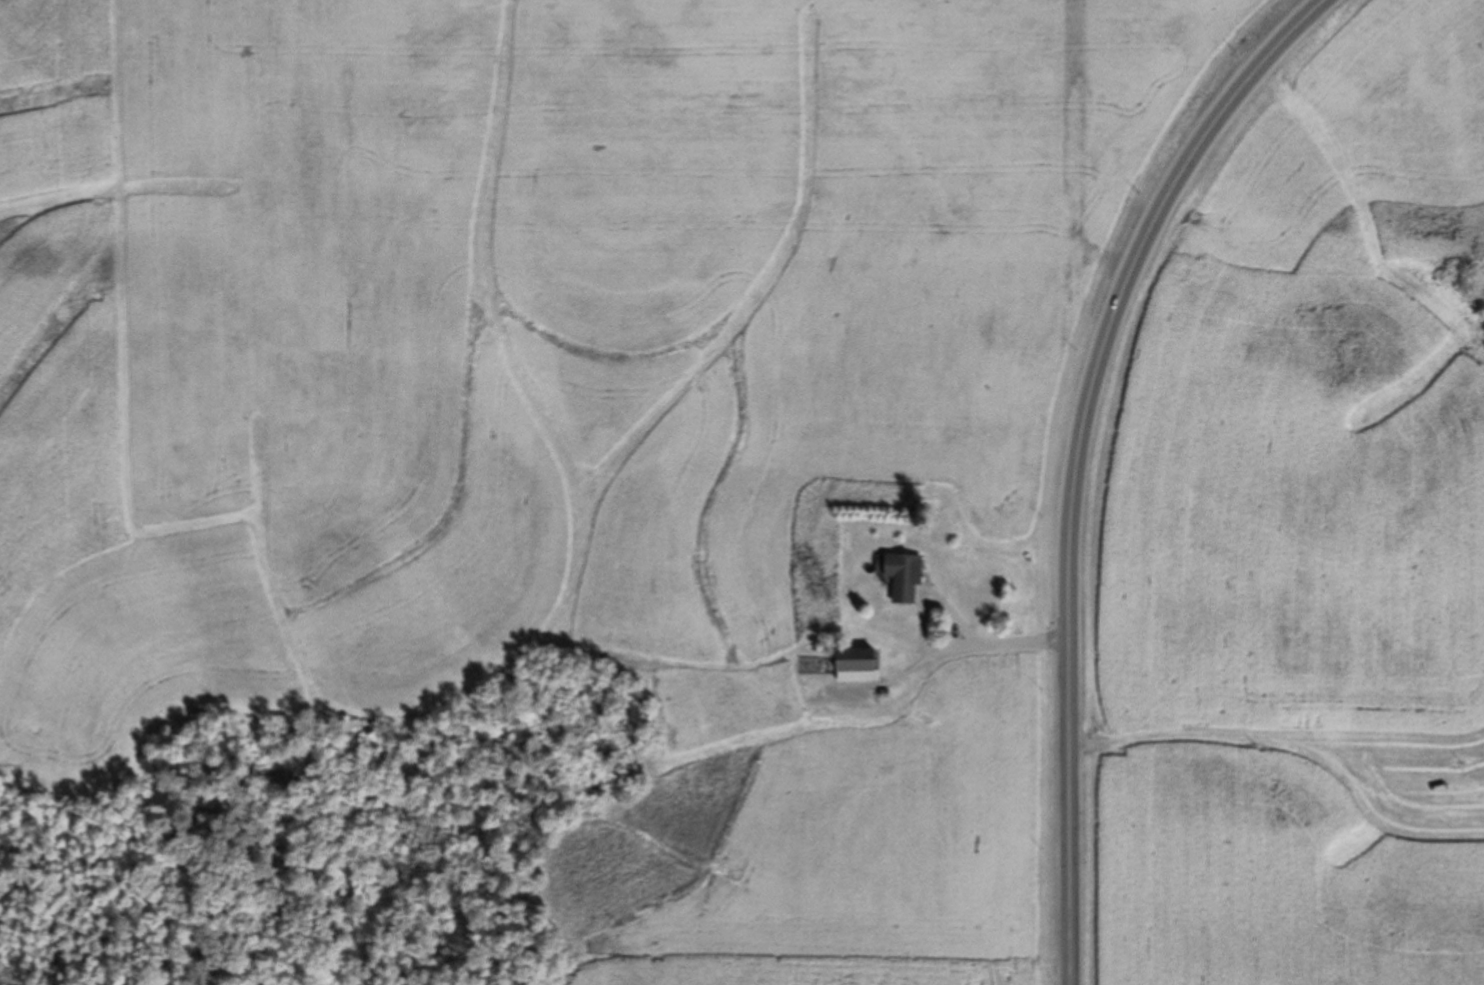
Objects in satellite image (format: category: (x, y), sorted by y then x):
road: (1081, 456)
building: (902, 576)
building: (853, 663)

